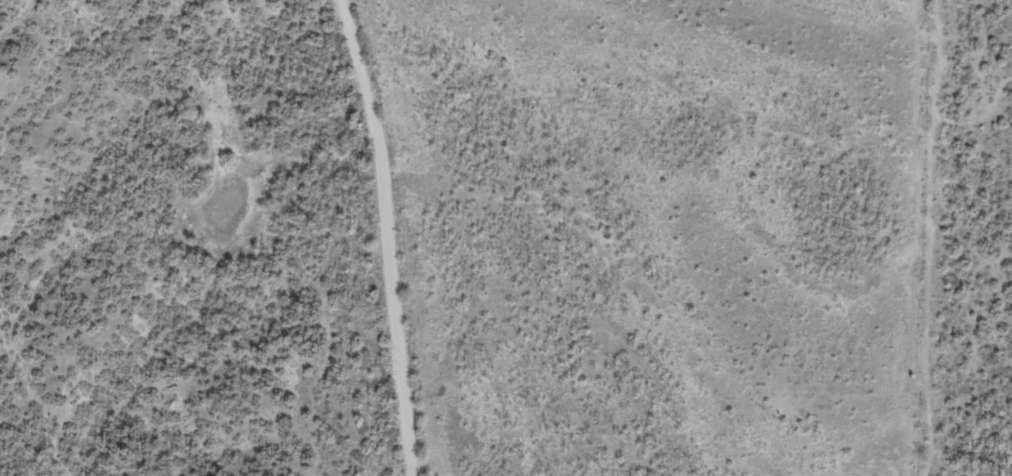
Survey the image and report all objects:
road: (391, 235)

